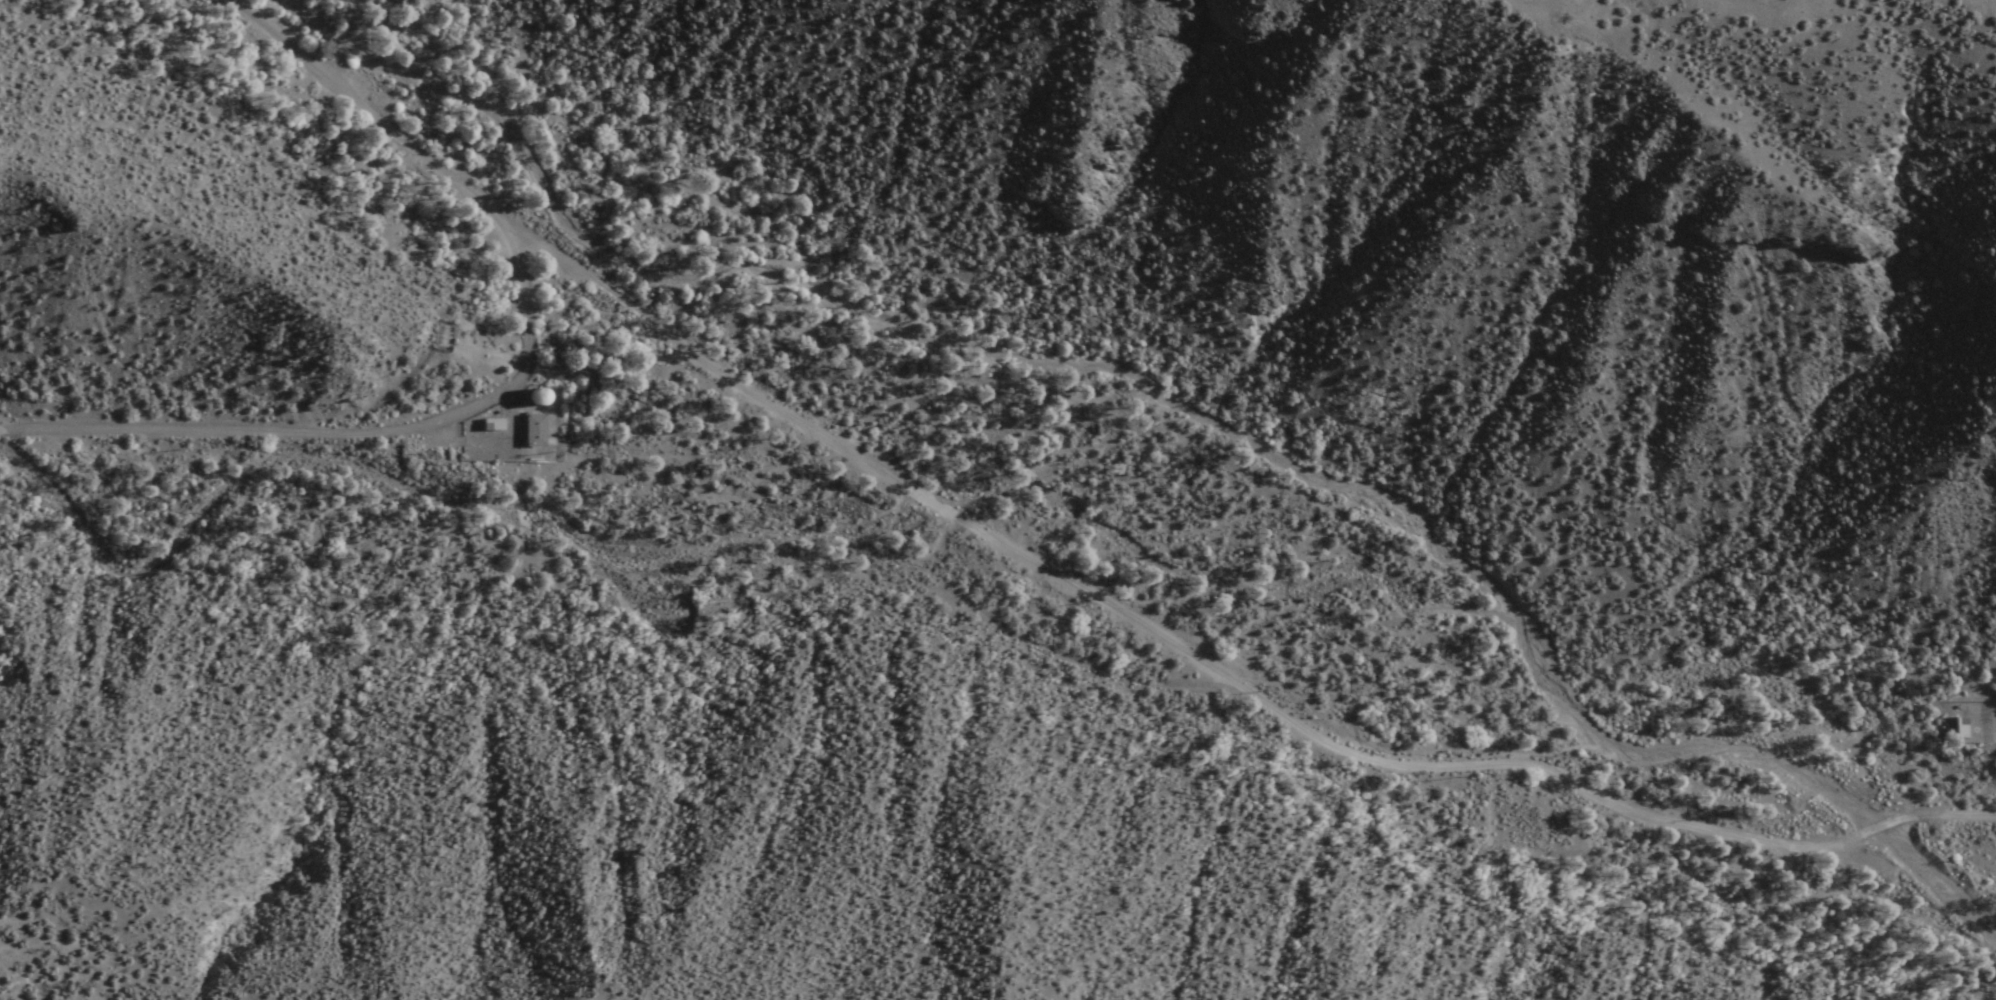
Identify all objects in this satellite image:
building: (549, 394)
storage tank: (549, 394)
building: (501, 420)
building: (538, 428)
road: (338, 430)
road: (1055, 575)
building: (1972, 715)
building: (1956, 729)

